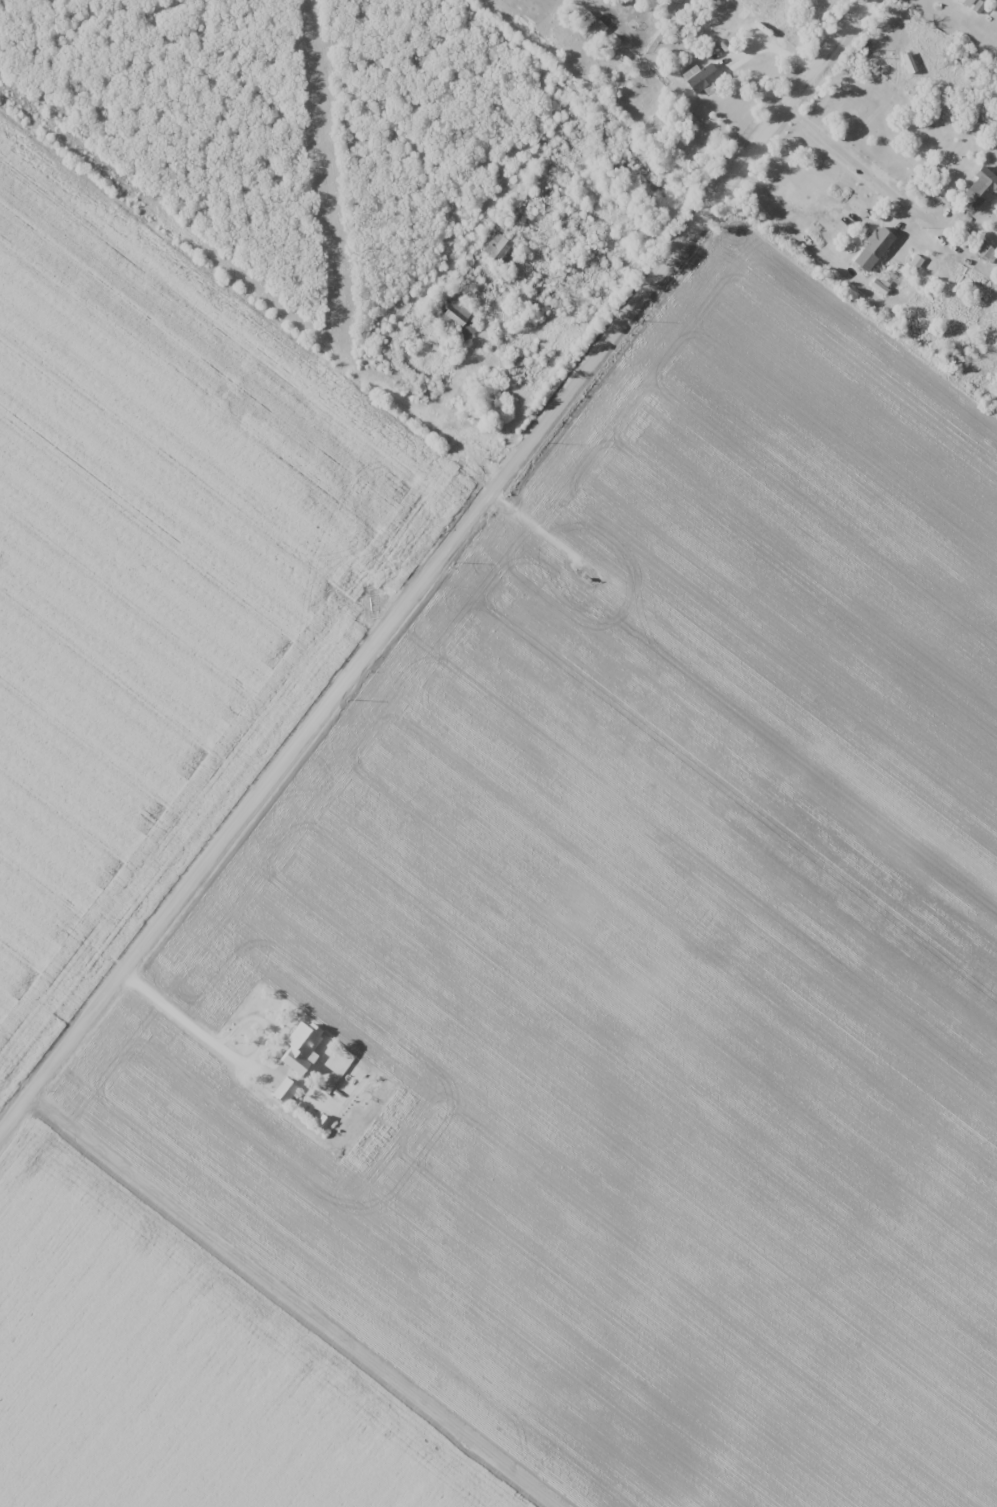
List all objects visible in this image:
building: (969, 2)
building: (674, 22)
building: (599, 28)
building: (704, 77)
road: (855, 163)
building: (980, 194)
building: (880, 241)
building: (988, 253)
building: (465, 325)
road: (440, 576)
building: (302, 1048)
road: (229, 1057)
building: (287, 1090)
building: (373, 1091)
road: (295, 1306)

